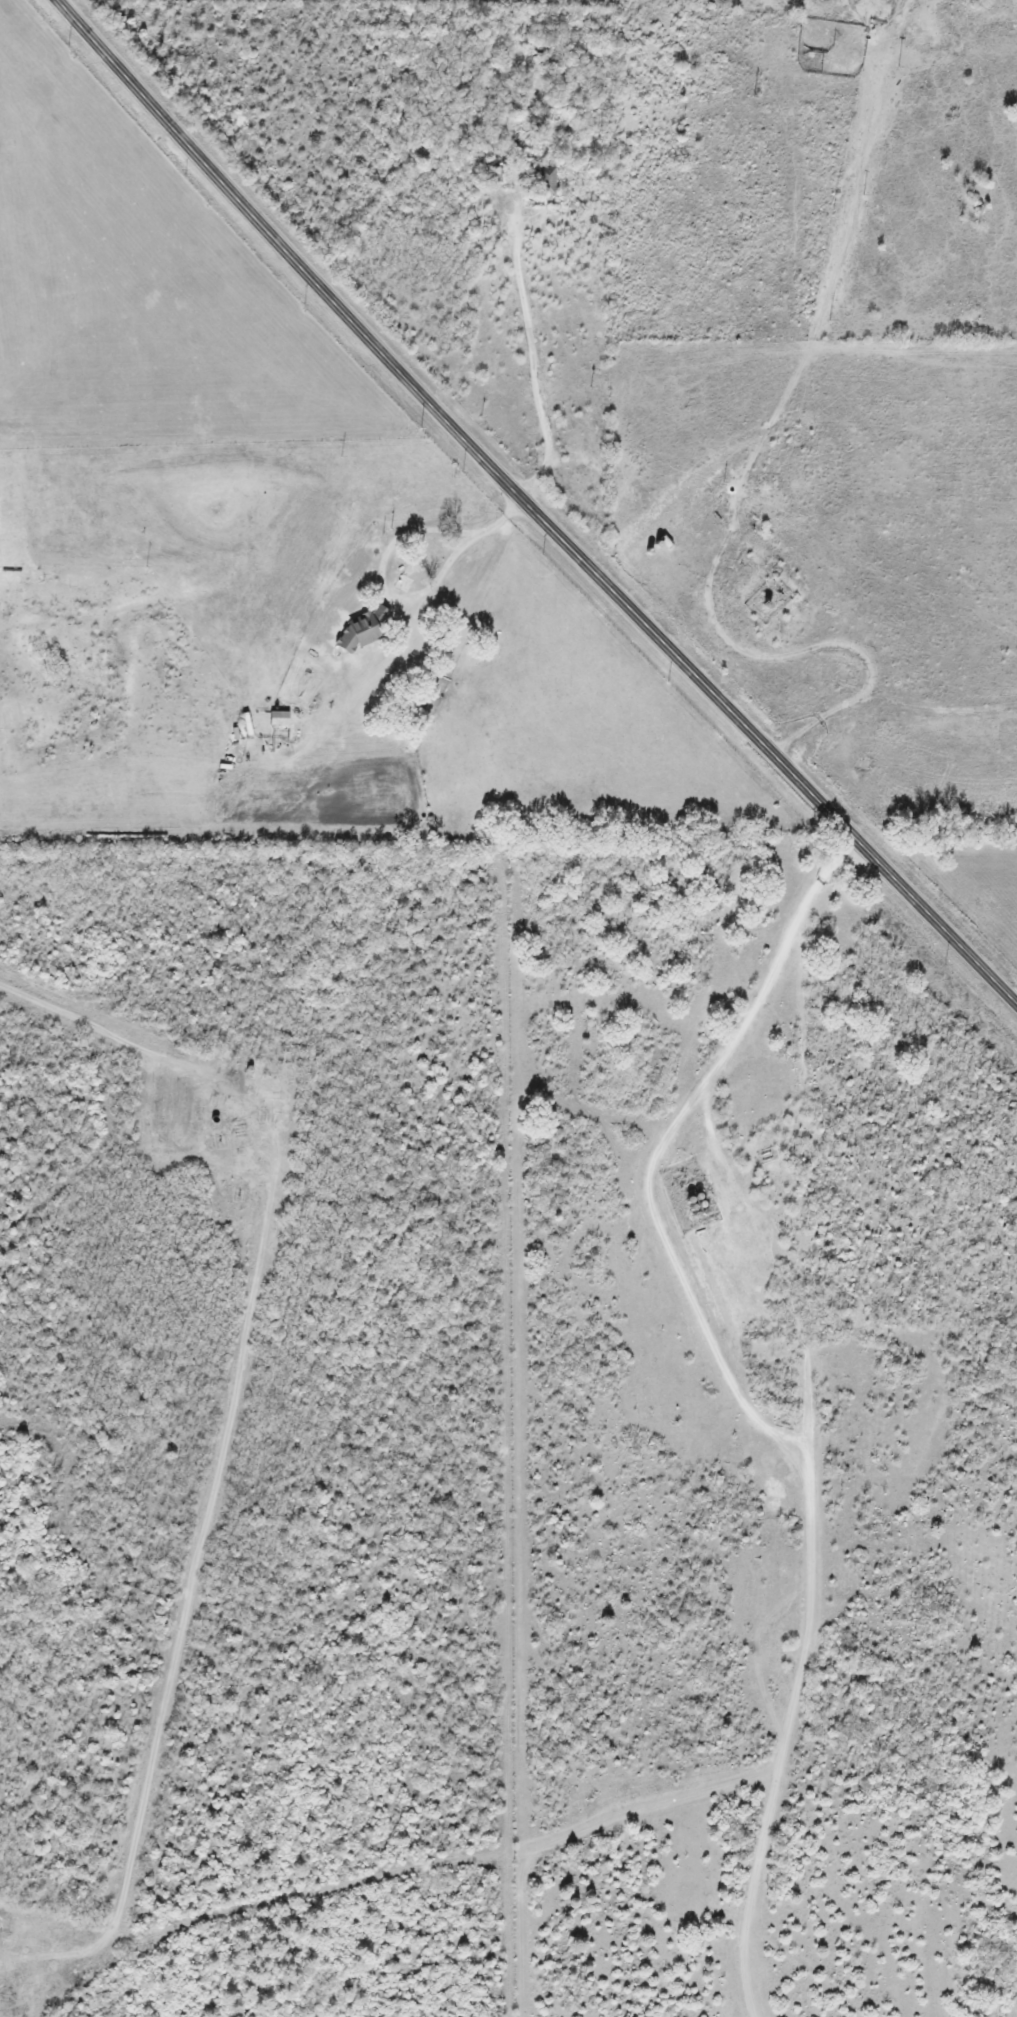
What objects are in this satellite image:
building: (550, 180)
road: (534, 506)
building: (419, 567)
building: (364, 631)
building: (282, 717)
building: (174, 1092)

